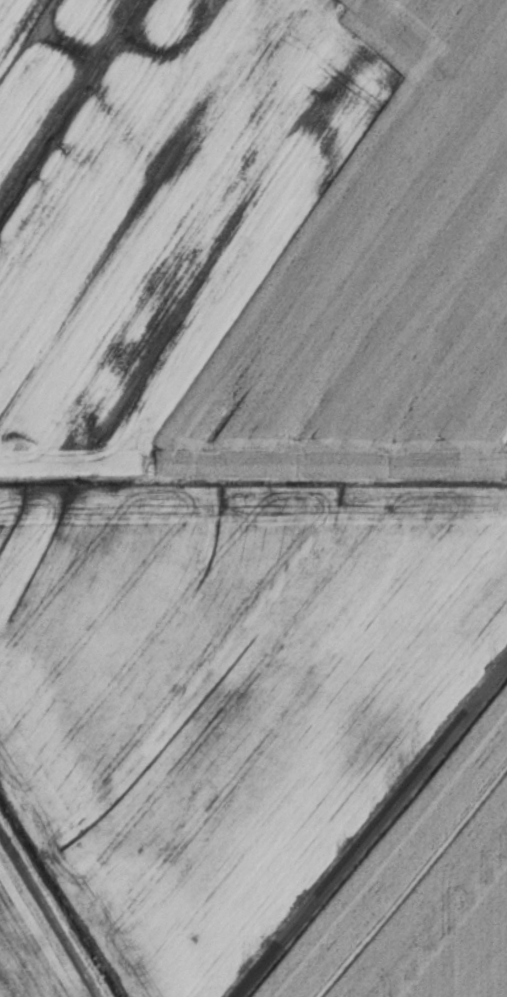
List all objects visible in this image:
road: (369, 829)
road: (48, 914)

